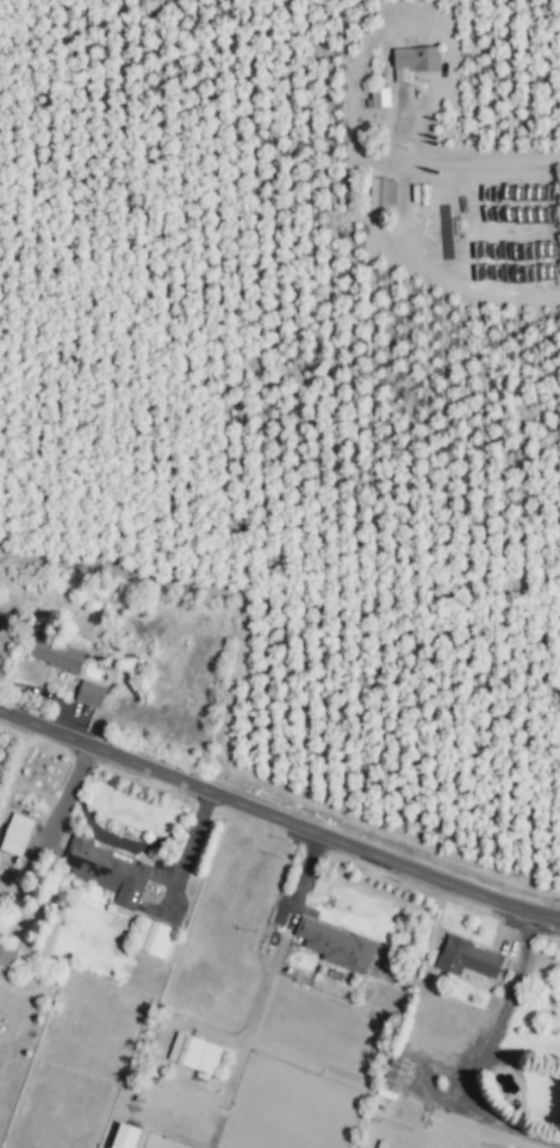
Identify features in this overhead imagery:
building: (413, 61)
building: (379, 98)
building: (382, 192)
road: (403, 217)
crop: (307, 394)
building: (56, 655)
building: (89, 694)
crop: (4, 757)
road: (279, 818)
building: (15, 835)
road: (114, 841)
building: (107, 872)
road: (299, 876)
building: (153, 938)
building: (336, 946)
building: (7, 953)
building: (467, 957)
road: (500, 1005)
building: (194, 1053)
building: (396, 1073)
building: (124, 1136)

